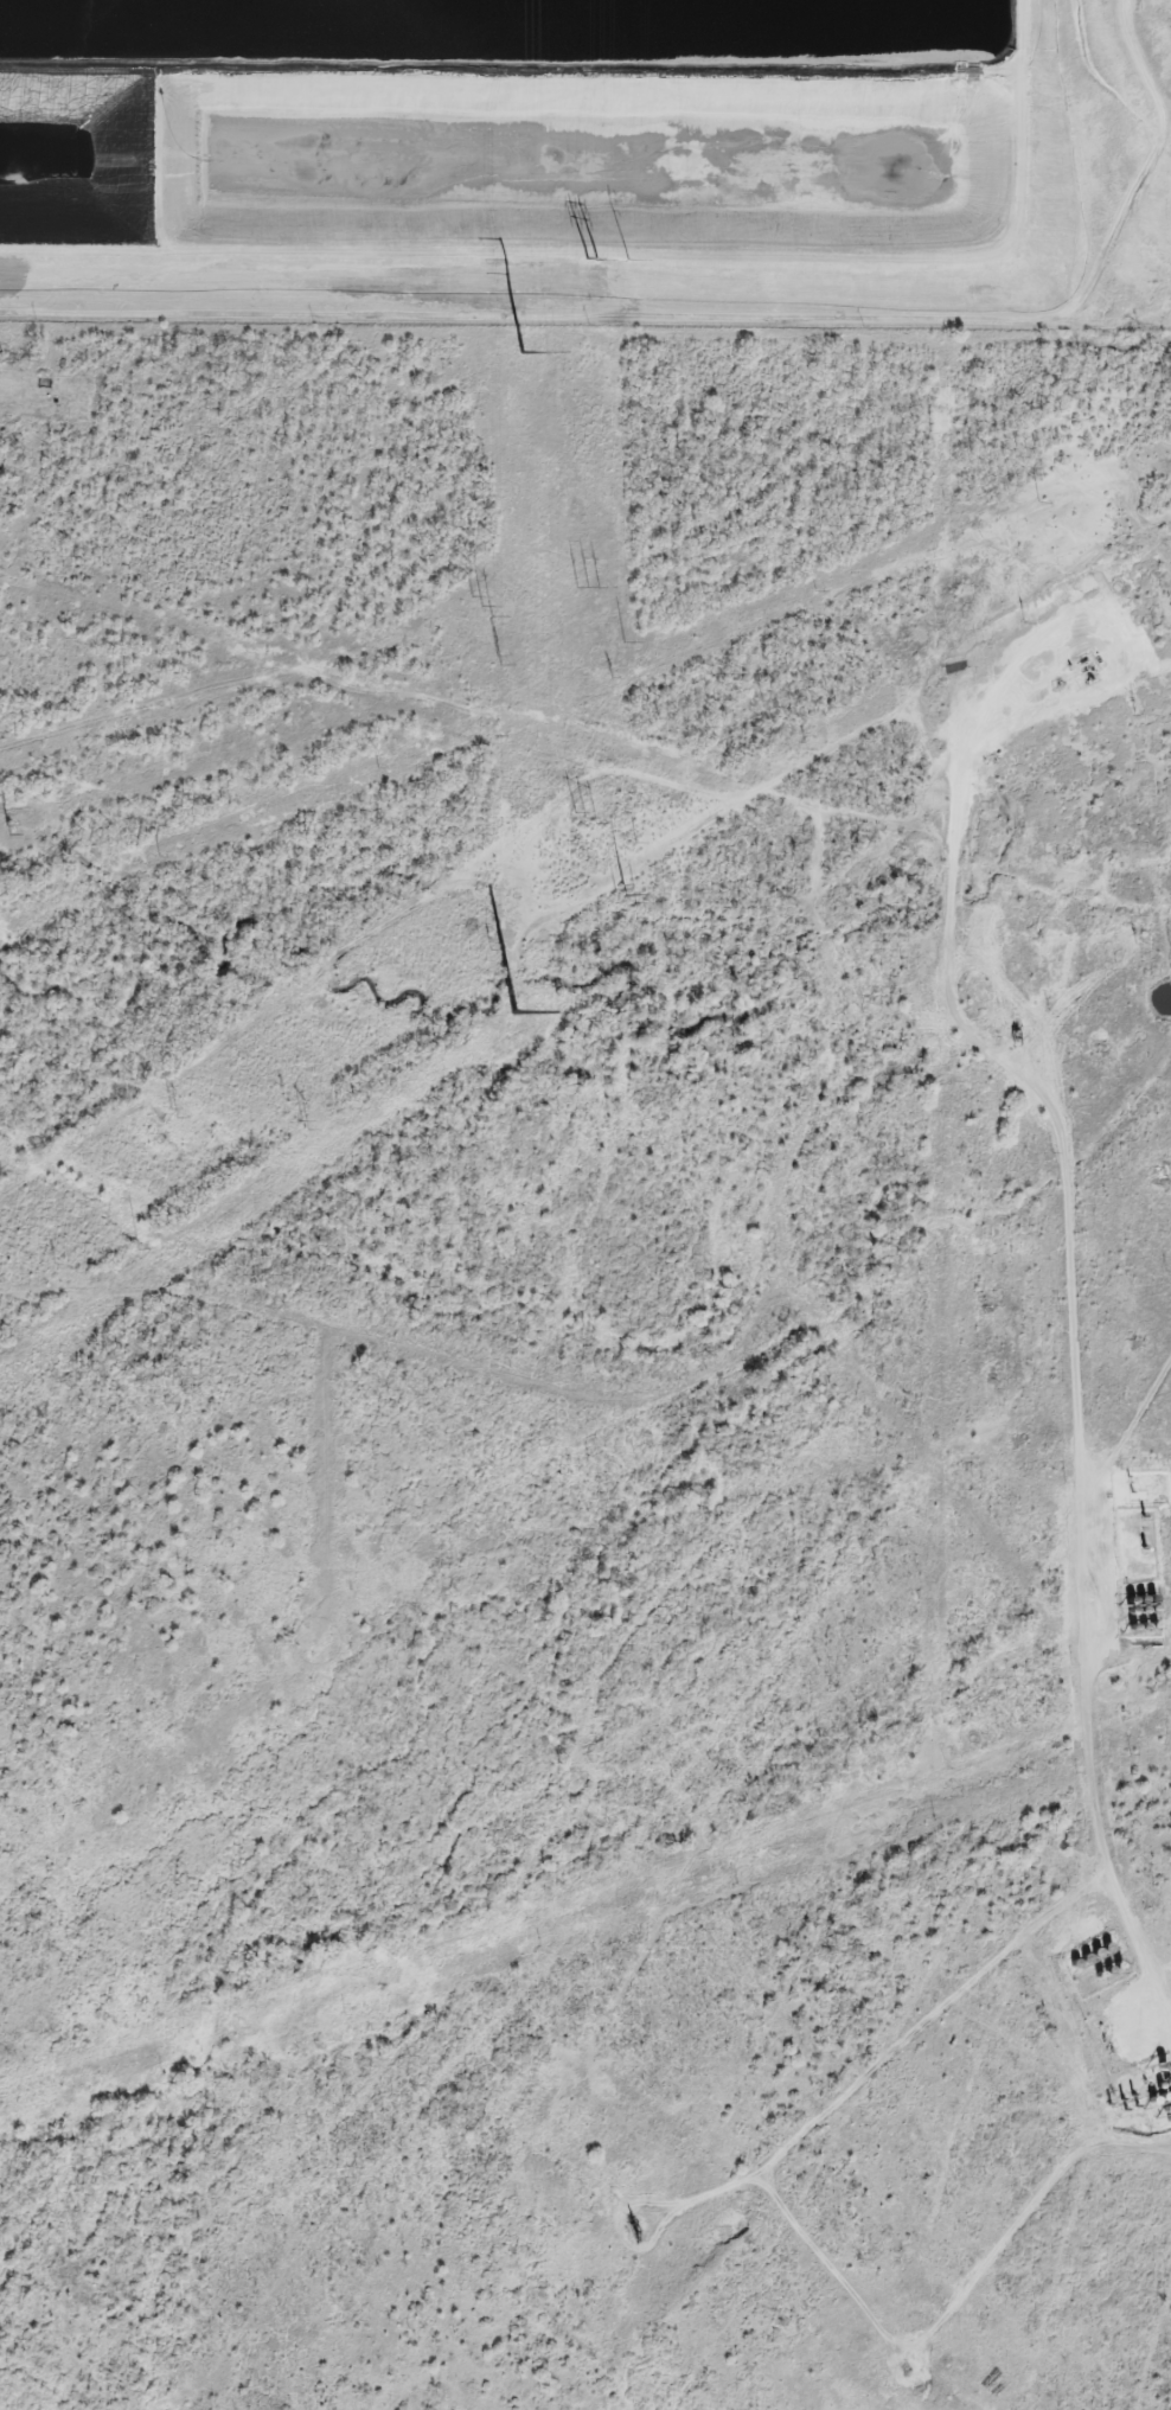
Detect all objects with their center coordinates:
power plant: (588, 159)
power tower: (584, 258)
power tower: (626, 260)
power tower: (520, 354)
power tower: (1039, 501)
power tower: (853, 520)
power tower: (584, 590)
power tower: (815, 592)
power tower: (484, 605)
power tower: (1025, 622)
power tower: (623, 647)
power tower: (501, 660)
power tower: (610, 673)
power tower: (807, 748)
power tower: (378, 767)
power tower: (580, 827)
power tower: (9, 829)
power tower: (636, 843)
power tower: (159, 856)
power tower: (626, 896)
power tower: (491, 950)
power tower: (513, 1014)
power tower: (283, 1097)
power tower: (172, 1115)
power tower: (306, 1123)
power tower: (55, 1262)
road: (1069, 1272)
building: (1164, 1924)

